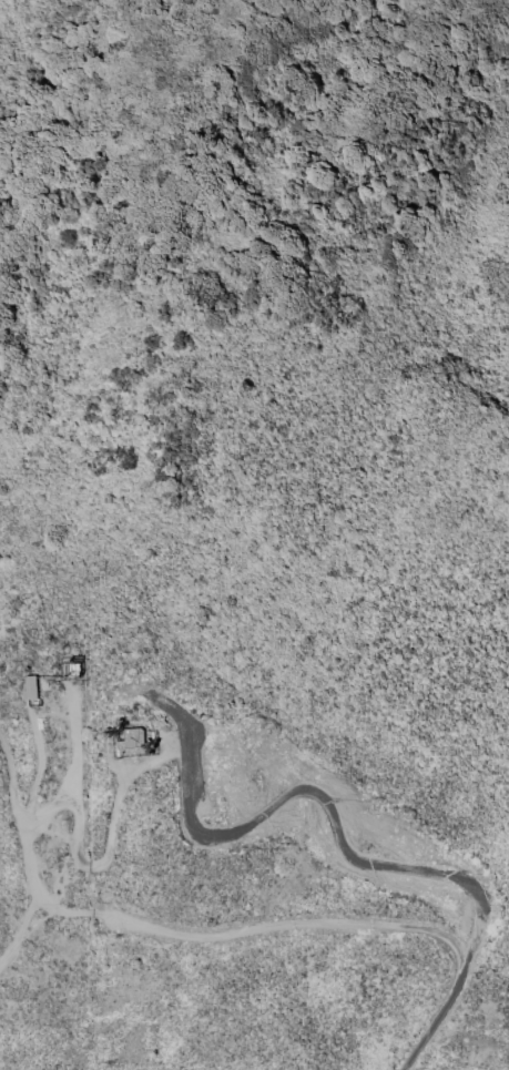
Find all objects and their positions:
road: (74, 742)
road: (38, 761)
road: (135, 768)
road: (42, 816)
road: (33, 883)
road: (342, 924)
road: (21, 925)
park: (44, 948)

